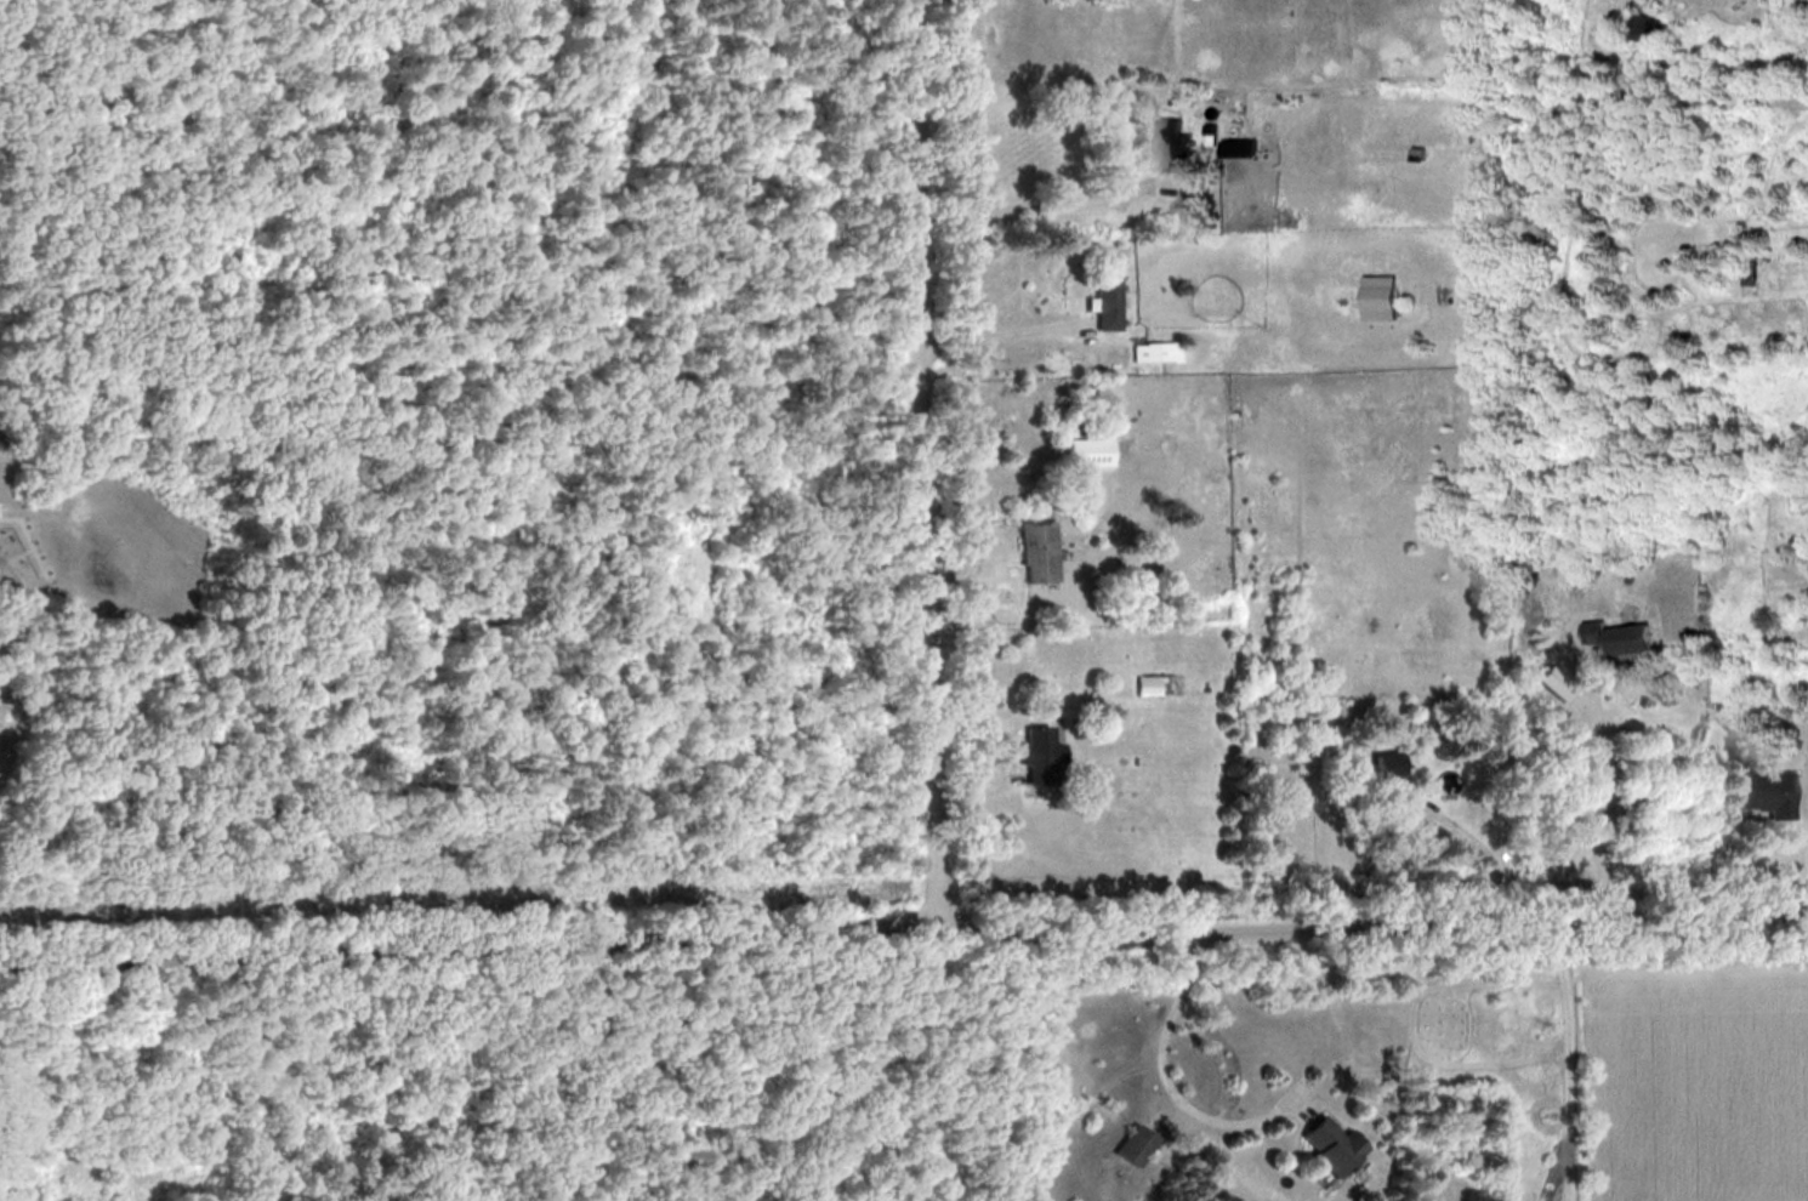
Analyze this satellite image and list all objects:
building: (1638, 25)
building: (1169, 144)
road: (1042, 204)
building: (1749, 271)
building: (1375, 297)
building: (1107, 301)
road: (1000, 334)
road: (926, 465)
road: (27, 536)
building: (1036, 545)
building: (1467, 545)
park: (115, 546)
park: (464, 610)
road: (44, 666)
building: (1150, 685)
building: (1036, 755)
building: (1389, 785)
building: (1763, 792)
road: (1592, 803)
road: (1490, 853)
road: (904, 930)
park: (1693, 1063)
road: (1165, 1088)
building: (1329, 1145)
building: (1138, 1146)

